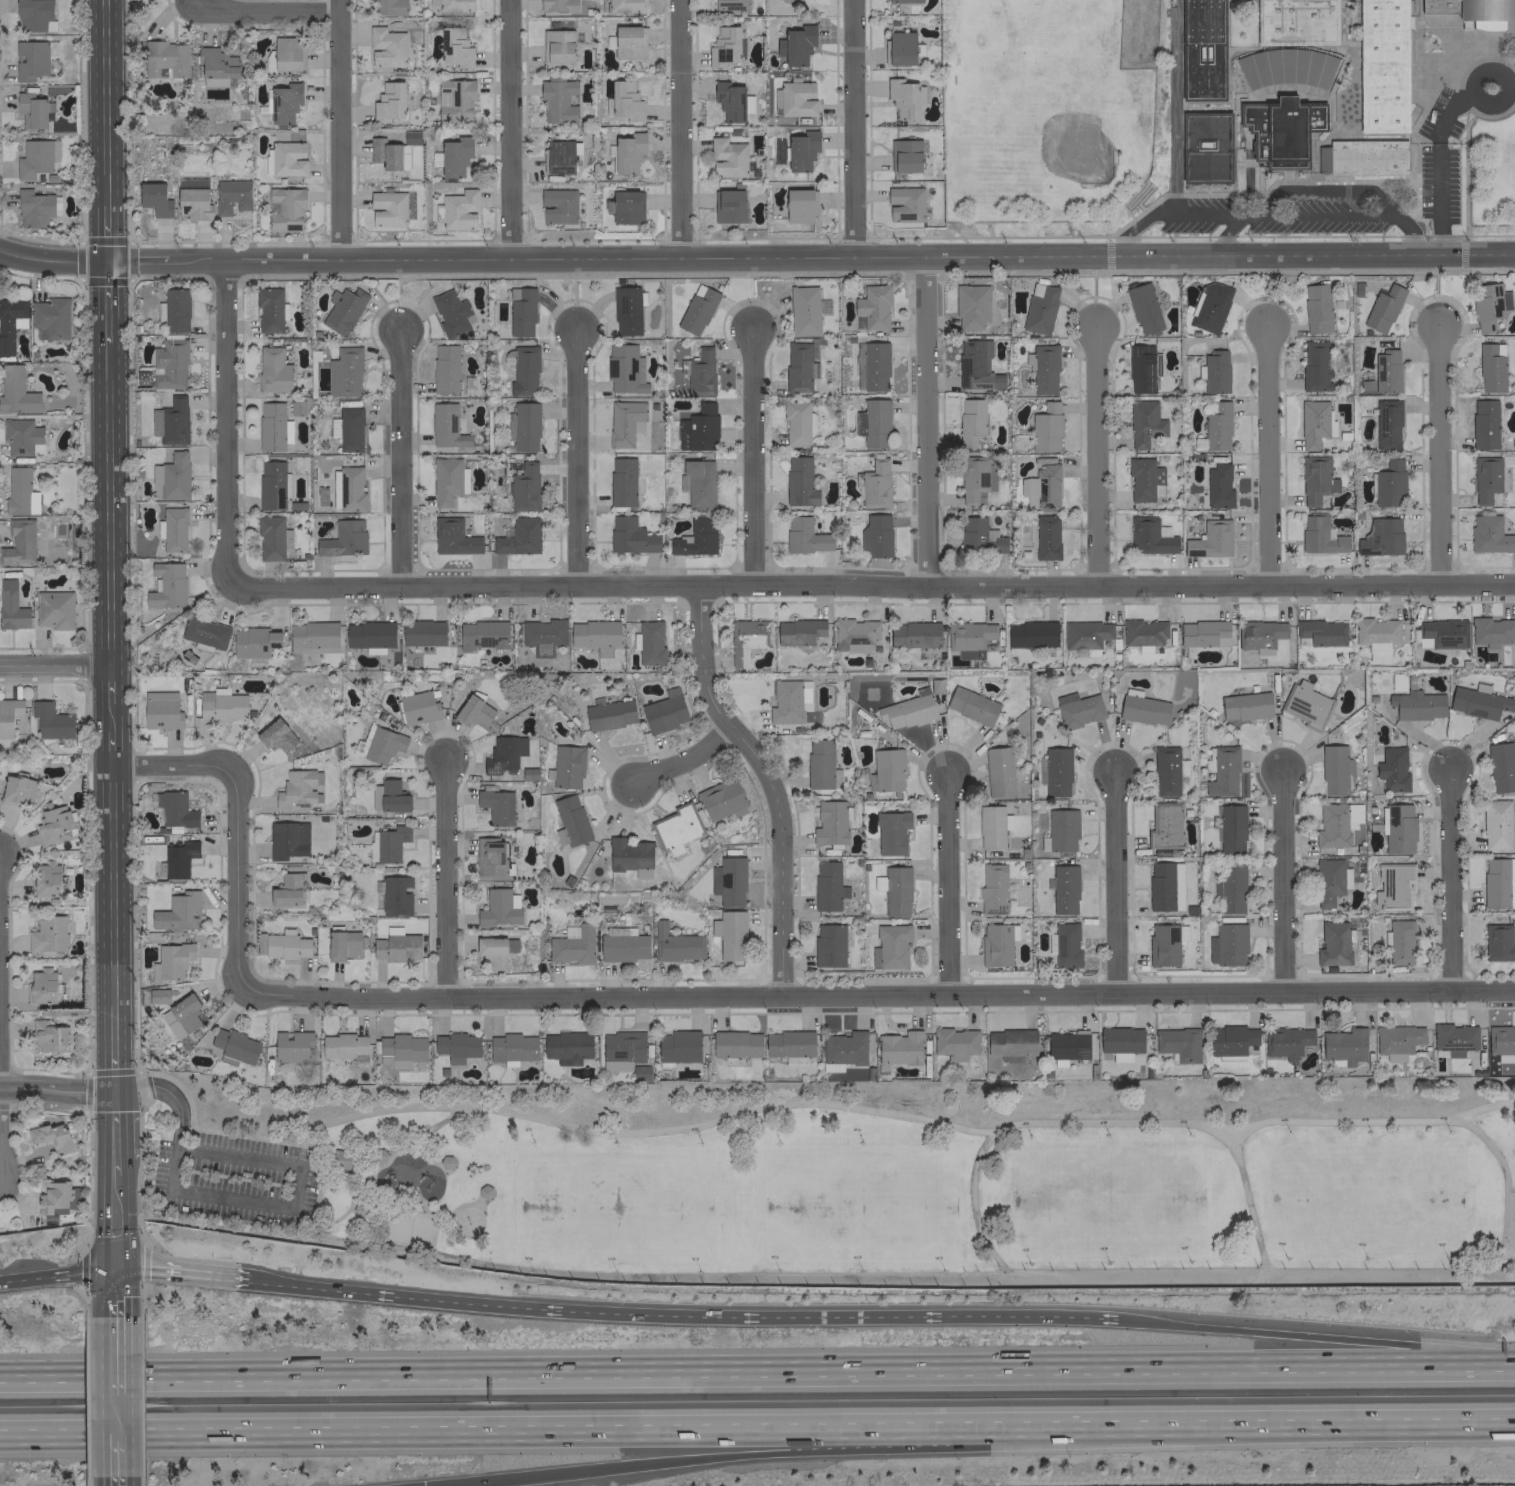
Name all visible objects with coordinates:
building: (904, 1)
building: (433, 2)
building: (730, 4)
building: (455, 5)
building: (558, 5)
building: (624, 5)
building: (388, 7)
building: (1473, 11)
road: (267, 13)
building: (34, 15)
building: (1296, 22)
building: (629, 42)
building: (796, 45)
building: (557, 46)
building: (723, 46)
building: (386, 47)
building: (899, 48)
building: (455, 49)
building: (1203, 50)
building: (286, 53)
building: (32, 58)
building: (165, 58)
building: (216, 63)
building: (1382, 66)
building: (1285, 68)
road: (1477, 75)
building: (796, 98)
building: (902, 98)
building: (454, 100)
building: (557, 100)
building: (388, 101)
building: (625, 101)
building: (729, 101)
building: (284, 102)
road: (103, 103)
building: (31, 110)
road: (850, 128)
road: (507, 129)
road: (676, 129)
road: (338, 130)
building: (1281, 130)
building: (1205, 147)
building: (801, 149)
building: (628, 152)
building: (388, 154)
building: (454, 156)
building: (904, 156)
building: (36, 157)
building: (559, 157)
building: (727, 157)
building: (1362, 157)
building: (287, 158)
road: (1437, 166)
road: (1326, 190)
building: (231, 196)
building: (156, 198)
building: (193, 198)
building: (904, 204)
building: (558, 205)
building: (728, 206)
building: (798, 206)
building: (625, 207)
building: (391, 208)
building: (34, 209)
building: (286, 209)
building: (459, 210)
road: (1245, 214)
road: (104, 233)
road: (1408, 233)
road: (1223, 234)
road: (809, 257)
road: (51, 260)
road: (105, 302)
building: (1489, 305)
building: (873, 306)
building: (970, 306)
building: (1143, 308)
building: (1211, 308)
building: (1316, 308)
building: (697, 309)
building: (1382, 309)
building: (175, 310)
building: (270, 310)
building: (627, 310)
building: (803, 310)
building: (1040, 311)
building: (521, 312)
building: (452, 313)
building: (49, 318)
building: (10, 323)
building: (169, 364)
building: (976, 365)
building: (800, 366)
building: (874, 366)
building: (1315, 366)
building: (1490, 367)
building: (444, 368)
building: (1042, 368)
building: (624, 369)
building: (1142, 369)
building: (273, 370)
building: (523, 370)
building: (1386, 370)
building: (344, 372)
building: (700, 372)
building: (1215, 372)
building: (16, 392)
building: (170, 421)
road: (923, 421)
building: (623, 422)
building: (971, 422)
building: (797, 423)
building: (859, 423)
building: (875, 423)
building: (1144, 423)
building: (1314, 423)
building: (1387, 424)
building: (1483, 424)
road: (222, 425)
building: (446, 426)
building: (524, 426)
building: (1217, 426)
building: (272, 427)
building: (347, 428)
building: (698, 428)
building: (1046, 428)
building: (21, 437)
road: (1436, 453)
road: (1093, 454)
road: (1267, 454)
road: (573, 455)
road: (749, 457)
road: (401, 459)
building: (172, 476)
building: (1485, 478)
building: (975, 479)
building: (1315, 479)
building: (447, 480)
building: (1144, 480)
building: (622, 481)
building: (799, 481)
building: (699, 483)
building: (1389, 483)
building: (273, 484)
building: (875, 485)
building: (1218, 486)
building: (524, 487)
building: (1041, 487)
building: (350, 489)
building: (20, 492)
building: (173, 529)
building: (1489, 534)
building: (876, 535)
building: (1319, 535)
building: (630, 536)
building: (804, 536)
building: (979, 536)
building: (1149, 536)
building: (271, 537)
building: (453, 537)
building: (518, 537)
building: (1046, 537)
building: (1380, 537)
building: (695, 538)
building: (343, 539)
building: (1210, 539)
building: (19, 542)
building: (166, 584)
road: (869, 586)
building: (11, 606)
building: (54, 609)
building: (798, 631)
building: (1491, 631)
building: (423, 632)
building: (1142, 632)
building: (1319, 632)
building: (204, 633)
building: (1203, 633)
building: (1441, 633)
building: (1031, 634)
building: (482, 635)
building: (543, 635)
building: (595, 635)
building: (854, 635)
building: (914, 635)
building: (1086, 635)
building: (1259, 635)
building: (313, 636)
building: (1376, 636)
building: (969, 638)
building: (746, 639)
building: (254, 642)
building: (650, 643)
road: (55, 664)
road: (111, 674)
building: (786, 702)
building: (1478, 703)
building: (1305, 704)
building: (221, 705)
building: (971, 705)
building: (1417, 705)
building: (1245, 706)
building: (418, 707)
building: (1142, 708)
building: (907, 709)
building: (1077, 709)
building: (161, 710)
building: (473, 711)
building: (664, 711)
building: (609, 714)
building: (8, 715)
building: (51, 720)
building: (276, 735)
building: (381, 745)
building: (503, 753)
road: (685, 757)
building: (821, 765)
building: (566, 767)
building: (1500, 767)
road: (176, 768)
building: (888, 769)
building: (1392, 769)
building: (1167, 770)
building: (1334, 770)
building: (998, 772)
building: (1056, 772)
building: (1222, 772)
road: (772, 782)
building: (296, 788)
building: (18, 790)
building: (388, 796)
building: (720, 798)
building: (496, 806)
building: (174, 809)
building: (569, 821)
building: (830, 822)
building: (53, 823)
building: (1336, 824)
building: (1497, 824)
building: (1164, 825)
building: (677, 826)
building: (992, 826)
building: (1230, 829)
building: (1399, 829)
building: (1061, 830)
building: (891, 832)
building: (287, 839)
building: (387, 843)
building: (675, 850)
building: (631, 856)
building: (178, 858)
building: (45, 879)
road: (446, 880)
building: (1330, 880)
road: (1452, 880)
building: (728, 881)
road: (1283, 881)
road: (237, 882)
building: (1499, 882)
road: (948, 883)
road: (1115, 883)
building: (1393, 885)
building: (827, 886)
building: (1165, 886)
building: (993, 888)
building: (1064, 889)
building: (1230, 889)
building: (287, 890)
building: (894, 890)
building: (395, 895)
building: (178, 912)
building: (714, 927)
building: (48, 934)
building: (731, 935)
building: (847, 937)
building: (1400, 942)
building: (997, 943)
building: (1498, 943)
building: (341, 944)
building: (676, 944)
building: (1164, 944)
building: (1333, 944)
building: (623, 945)
building: (828, 945)
building: (1064, 945)
building: (1227, 945)
building: (287, 946)
building: (572, 946)
building: (890, 946)
building: (396, 947)
building: (495, 950)
building: (173, 959)
building: (41, 986)
building: (156, 996)
road: (876, 996)
building: (185, 1012)
building: (48, 1037)
road: (113, 1037)
building: (1453, 1038)
building: (1232, 1039)
building: (1396, 1040)
building: (1120, 1042)
building: (1286, 1042)
building: (954, 1043)
building: (1010, 1043)
building: (1178, 1043)
building: (1501, 1043)
building: (736, 1044)
building: (789, 1045)
building: (1344, 1045)
building: (293, 1046)
building: (343, 1046)
building: (456, 1046)
building: (567, 1046)
building: (677, 1046)
building: (1066, 1046)
building: (234, 1047)
building: (512, 1048)
building: (899, 1048)
building: (621, 1050)
building: (843, 1050)
building: (401, 1051)
road: (92, 1071)
road: (112, 1081)
road: (55, 1090)
road: (168, 1092)
road: (803, 1103)
road: (438, 1123)
road: (113, 1133)
street lamp: (1368, 1133)
street lamp: (1447, 1133)
street lamp: (1107, 1135)
street lamp: (1286, 1135)
street lamp: (1188, 1136)
building: (51, 1137)
street lamp: (1028, 1138)
street lamp: (533, 1142)
street lamp: (776, 1143)
street lamp: (614, 1144)
street lamp: (861, 1144)
street lamp: (943, 1144)
street lamp: (700, 1145)
road: (395, 1151)
building: (378, 1155)
road: (258, 1159)
building: (341, 1159)
building: (447, 1162)
park: (588, 1176)
parking lot: (234, 1178)
road: (348, 1179)
park: (1250, 1181)
road: (1504, 1187)
road: (1510, 1188)
building: (485, 1191)
road: (136, 1193)
road: (210, 1194)
building: (53, 1197)
park: (1107, 1198)
park: (1367, 1198)
road: (420, 1201)
park: (615, 1206)
park: (860, 1206)
building: (360, 1209)
park: (467, 1222)
road: (113, 1223)
park: (409, 1228)
street lamp: (1285, 1260)
street lamp: (1365, 1260)
street lamp: (1446, 1260)
street lamp: (1107, 1263)
street lamp: (1188, 1263)
street lamp: (1029, 1265)
road: (1302, 1269)
road: (184, 1272)
street lamp: (777, 1272)
street lamp: (860, 1272)
street lamp: (943, 1272)
street lamp: (532, 1273)
road: (56, 1275)
street lamp: (615, 1275)
street lamp: (699, 1275)
road: (1056, 1275)
road: (643, 1277)
road: (113, 1285)
road: (684, 1316)
road: (1314, 1338)
road: (114, 1349)
road: (757, 1369)
road: (140, 1396)
road: (115, 1415)
road: (1283, 1427)
road: (525, 1432)
road: (746, 1455)
road: (115, 1459)

